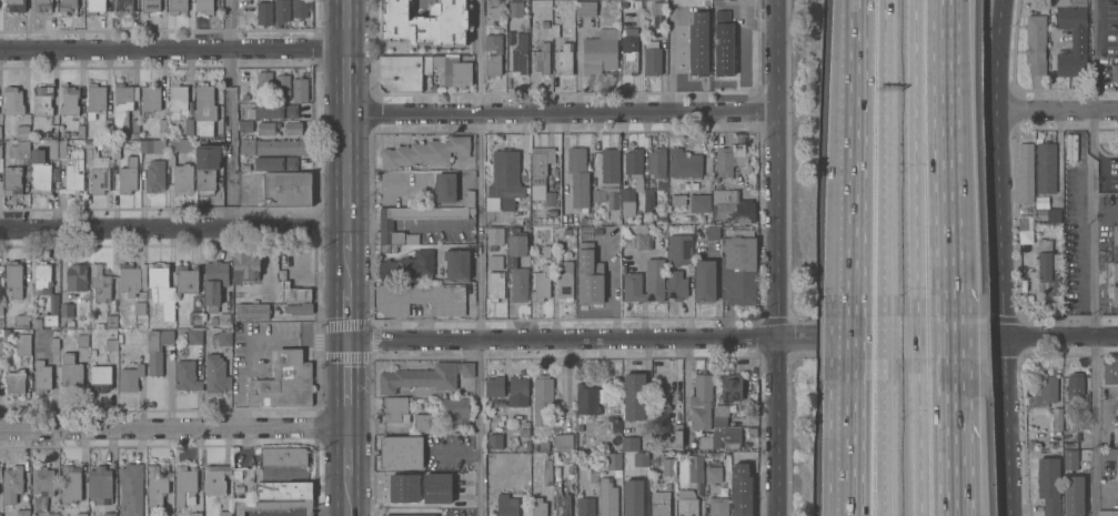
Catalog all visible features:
building: (1065, 3)
building: (14, 6)
building: (41, 6)
building: (67, 6)
building: (636, 6)
building: (94, 7)
building: (122, 7)
building: (150, 7)
building: (177, 7)
building: (203, 7)
building: (299, 9)
building: (496, 9)
building: (585, 9)
building: (676, 9)
building: (714, 9)
building: (514, 10)
building: (281, 11)
building: (657, 13)
building: (263, 14)
building: (731, 21)
building: (416, 23)
building: (459, 23)
building: (524, 23)
building: (705, 27)
building: (555, 32)
building: (1071, 39)
building: (1036, 43)
building: (722, 44)
road: (172, 51)
building: (600, 53)
building: (492, 54)
road: (1091, 54)
building: (628, 55)
building: (518, 57)
building: (651, 59)
building: (684, 59)
building: (541, 60)
building: (563, 60)
building: (444, 68)
building: (1114, 71)
building: (402, 73)
building: (461, 75)
building: (264, 83)
building: (281, 88)
building: (433, 89)
building: (300, 91)
building: (244, 97)
building: (150, 100)
building: (12, 102)
building: (69, 102)
building: (94, 102)
building: (177, 102)
building: (42, 103)
building: (122, 105)
road: (1060, 110)
building: (204, 111)
road: (558, 112)
building: (275, 113)
road: (231, 114)
road: (344, 114)
building: (105, 125)
building: (134, 128)
building: (245, 128)
building: (162, 129)
building: (188, 129)
building: (268, 130)
building: (293, 130)
road: (1092, 130)
building: (53, 132)
building: (80, 132)
building: (22, 133)
building: (64, 135)
building: (133, 138)
building: (151, 146)
building: (179, 146)
building: (281, 146)
building: (460, 146)
building: (248, 148)
building: (1069, 148)
building: (19, 151)
building: (52, 151)
building: (62, 151)
building: (115, 153)
building: (0, 154)
building: (88, 154)
building: (417, 154)
road: (856, 158)
road: (883, 158)
road: (916, 158)
road: (941, 158)
building: (633, 163)
building: (273, 164)
building: (655, 164)
building: (683, 164)
building: (722, 164)
building: (608, 166)
building: (1046, 166)
building: (205, 168)
building: (1025, 171)
building: (39, 174)
building: (540, 174)
building: (72, 175)
building: (154, 178)
building: (577, 178)
building: (128, 179)
building: (504, 180)
building: (183, 181)
building: (11, 182)
building: (99, 182)
road: (381, 185)
building: (444, 189)
building: (286, 191)
building: (597, 196)
building: (467, 200)
building: (647, 201)
building: (677, 201)
building: (626, 202)
building: (698, 204)
building: (732, 208)
building: (1054, 214)
building: (658, 219)
building: (1025, 221)
building: (647, 223)
road: (384, 226)
road: (427, 226)
road: (361, 227)
road: (171, 230)
building: (384, 230)
building: (566, 233)
building: (1115, 233)
building: (711, 234)
building: (494, 236)
road: (344, 240)
building: (642, 241)
building: (386, 249)
building: (492, 249)
building: (679, 250)
building: (545, 252)
building: (584, 256)
road: (479, 257)
road: (774, 257)
road: (1004, 257)
building: (510, 262)
building: (493, 263)
building: (455, 265)
building: (407, 266)
building: (245, 269)
road: (345, 269)
building: (1047, 269)
building: (1112, 271)
building: (737, 272)
building: (75, 279)
building: (13, 280)
building: (131, 280)
building: (187, 281)
building: (704, 282)
building: (564, 283)
building: (645, 283)
building: (100, 284)
building: (214, 284)
building: (540, 285)
building: (587, 285)
building: (676, 285)
building: (494, 287)
building: (46, 292)
building: (160, 292)
building: (1114, 293)
building: (293, 294)
building: (252, 296)
building: (421, 300)
building: (0, 310)
building: (139, 310)
building: (299, 310)
building: (252, 313)
road: (345, 314)
building: (66, 316)
building: (194, 320)
building: (21, 321)
building: (213, 322)
building: (36, 323)
building: (108, 324)
building: (44, 328)
building: (7, 334)
building: (111, 335)
building: (194, 337)
road: (855, 337)
road: (883, 337)
road: (917, 337)
road: (945, 337)
road: (1060, 337)
road: (560, 338)
road: (795, 338)
road: (902, 338)
road: (997, 338)
building: (221, 340)
traffic signals: (345, 341)
building: (81, 342)
building: (0, 344)
building: (22, 345)
building: (53, 345)
building: (110, 346)
road: (1096, 346)
building: (157, 351)
building: (92, 354)
building: (1110, 368)
building: (464, 370)
road: (345, 373)
building: (70, 374)
building: (215, 376)
building: (187, 377)
building: (41, 378)
building: (100, 380)
building: (130, 380)
building: (417, 380)
building: (14, 383)
building: (283, 383)
building: (494, 387)
building: (1047, 388)
building: (1074, 388)
building: (729, 389)
road: (946, 391)
building: (745, 392)
building: (516, 393)
building: (633, 396)
building: (1031, 397)
building: (541, 399)
building: (585, 401)
building: (699, 404)
building: (455, 408)
building: (395, 409)
building: (659, 414)
building: (719, 415)
road: (345, 417)
building: (1056, 417)
building: (425, 424)
building: (452, 425)
road: (172, 429)
building: (523, 431)
building: (1115, 434)
road: (854, 437)
road: (883, 437)
road: (918, 437)
building: (727, 438)
building: (671, 439)
building: (495, 442)
building: (563, 443)
building: (705, 443)
building: (1030, 443)
building: (627, 444)
building: (541, 446)
road: (345, 452)
building: (401, 453)
building: (282, 458)
building: (639, 458)
building: (1070, 459)
building: (613, 462)
building: (737, 464)
building: (1117, 464)
building: (506, 467)
building: (695, 467)
building: (643, 469)
road: (946, 469)
road: (950, 469)
building: (0, 472)
building: (668, 472)
building: (547, 473)
building: (592, 473)
building: (236, 475)
building: (712, 475)
building: (214, 480)
building: (42, 482)
building: (1049, 484)
building: (12, 485)
building: (70, 485)
building: (100, 485)
building: (157, 485)
building: (184, 487)
building: (402, 488)
building: (436, 488)
building: (130, 490)
building: (283, 490)
road: (345, 495)
building: (1072, 496)
building: (634, 497)
building: (607, 498)
building: (744, 502)
building: (659, 504)
building: (685, 504)
building: (506, 505)
building: (562, 506)
building: (272, 507)
building: (537, 507)
building: (584, 507)
building: (717, 507)
building: (631, 508)
road: (392, 510)
building: (1108, 512)
building: (22, 514)
building: (223, 514)
building: (52, 515)
building: (81, 515)
building: (109, 515)
building: (165, 515)
building: (194, 515)

